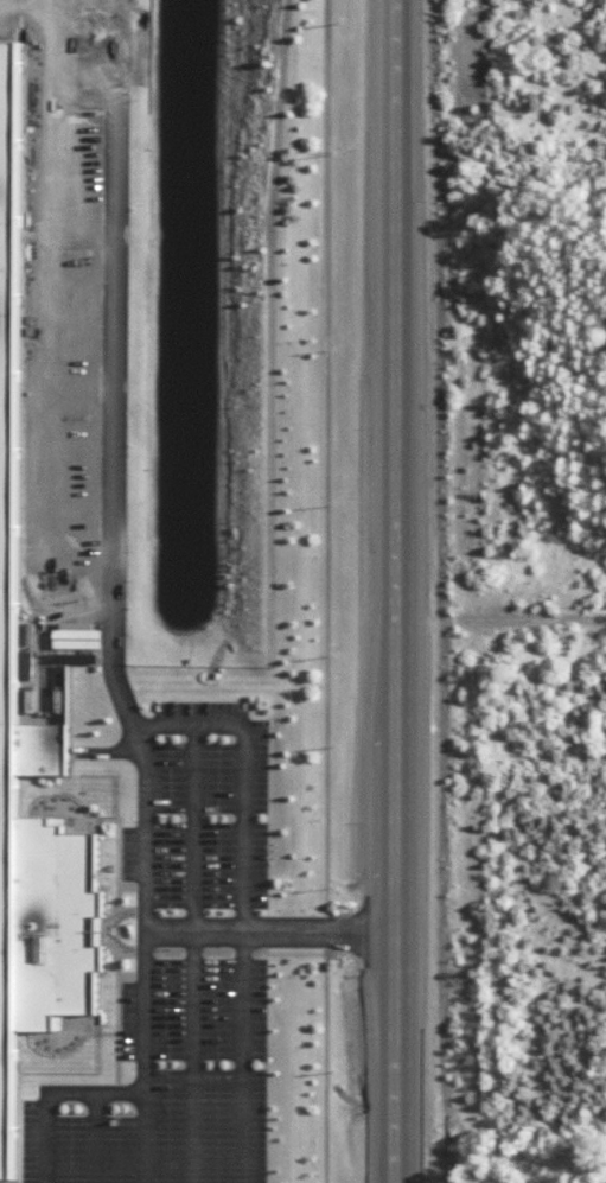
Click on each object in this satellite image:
road: (116, 375)
road: (395, 591)
road: (500, 624)
road: (197, 726)
building: (31, 743)
road: (325, 920)
road: (253, 928)
road: (324, 936)
road: (196, 954)
road: (146, 1052)
road: (245, 1055)
road: (145, 1138)
road: (97, 1139)

